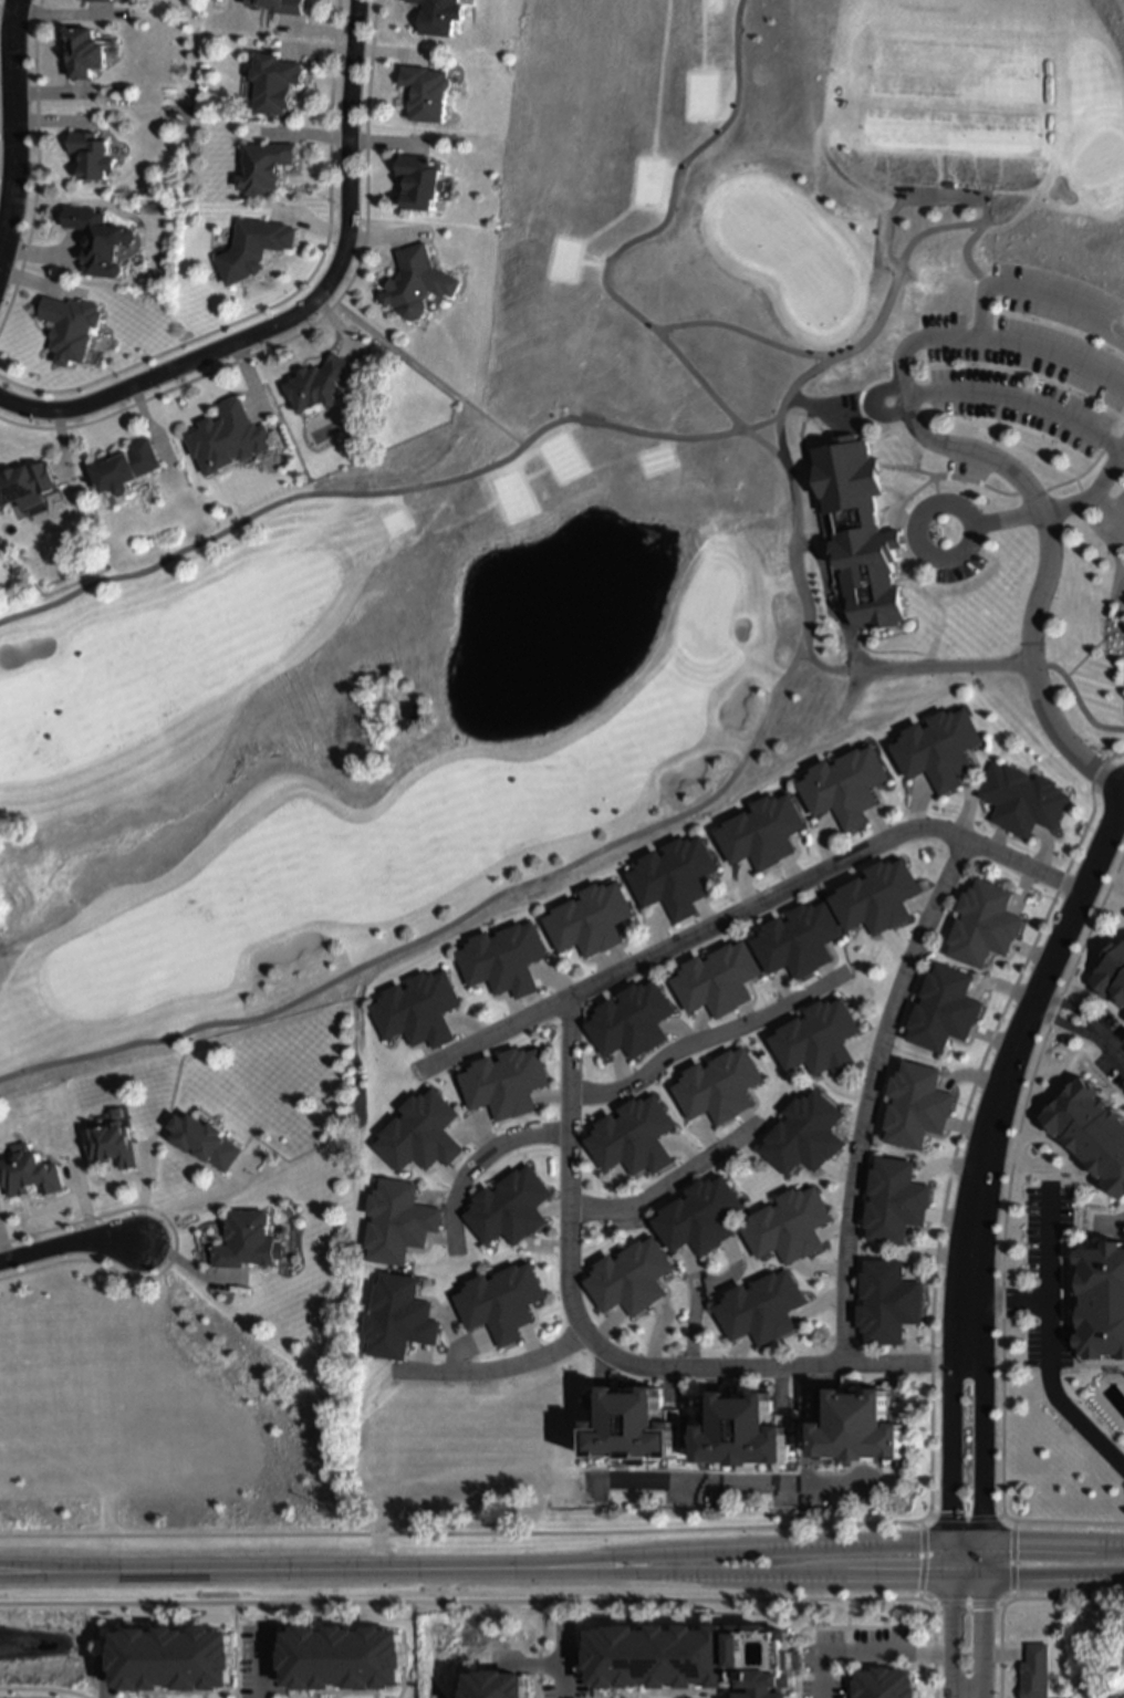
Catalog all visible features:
building: (103, 0)
building: (280, 4)
building: (439, 14)
building: (81, 50)
building: (272, 80)
building: (425, 90)
road: (8, 118)
building: (87, 153)
building: (264, 163)
building: (420, 178)
road: (946, 198)
building: (95, 239)
building: (252, 246)
road: (621, 248)
building: (418, 281)
road: (1030, 291)
road: (300, 309)
road: (314, 322)
building: (70, 330)
road: (745, 331)
road: (1024, 345)
parking lot: (1035, 366)
road: (429, 372)
building: (321, 382)
road: (793, 387)
road: (889, 398)
road: (1019, 402)
road: (989, 426)
building: (228, 435)
road: (905, 436)
road: (863, 452)
road: (871, 463)
building: (127, 465)
building: (25, 479)
road: (1091, 492)
road: (386, 493)
road: (1011, 494)
road: (947, 504)
road: (1107, 514)
road: (1002, 519)
park: (611, 522)
road: (1043, 543)
building: (877, 574)
road: (1110, 580)
park: (704, 610)
road: (975, 670)
building: (409, 713)
building: (940, 746)
building: (846, 784)
road: (1123, 794)
building: (1023, 798)
building: (762, 830)
building: (675, 875)
building: (878, 896)
road: (746, 907)
building: (590, 918)
building: (985, 923)
road: (443, 927)
building: (799, 938)
building: (502, 958)
building: (1111, 971)
building: (718, 979)
road: (1063, 1007)
building: (417, 1009)
building: (945, 1009)
building: (632, 1020)
road: (1053, 1025)
road: (706, 1039)
building: (819, 1039)
road: (1104, 1049)
road: (1005, 1069)
building: (504, 1082)
building: (719, 1085)
road: (865, 1093)
building: (917, 1106)
building: (419, 1133)
building: (804, 1133)
building: (633, 1137)
building: (202, 1140)
building: (110, 1143)
road: (475, 1161)
road: (565, 1167)
building: (27, 1171)
road: (666, 1183)
road: (177, 1201)
building: (895, 1201)
building: (509, 1208)
building: (701, 1217)
building: (397, 1222)
building: (788, 1225)
road: (65, 1241)
building: (244, 1241)
road: (170, 1244)
building: (631, 1278)
building: (1102, 1301)
building: (501, 1302)
building: (886, 1303)
road: (690, 1305)
building: (760, 1308)
road: (1044, 1352)
road: (514, 1365)
road: (768, 1365)
park: (84, 1386)
road: (802, 1424)
park: (152, 1425)
building: (632, 1427)
building: (862, 1430)
building: (743, 1433)
road: (947, 1466)
road: (979, 1467)
road: (724, 1480)
road: (818, 1543)
road: (256, 1567)
road: (818, 1574)
road: (454, 1600)
road: (948, 1636)
road: (980, 1637)
road: (864, 1652)
building: (343, 1657)
building: (696, 1658)
road: (261, 1664)
road: (563, 1664)
building: (1084, 1680)
building: (884, 1685)
building: (497, 1687)
road: (41, 1689)

